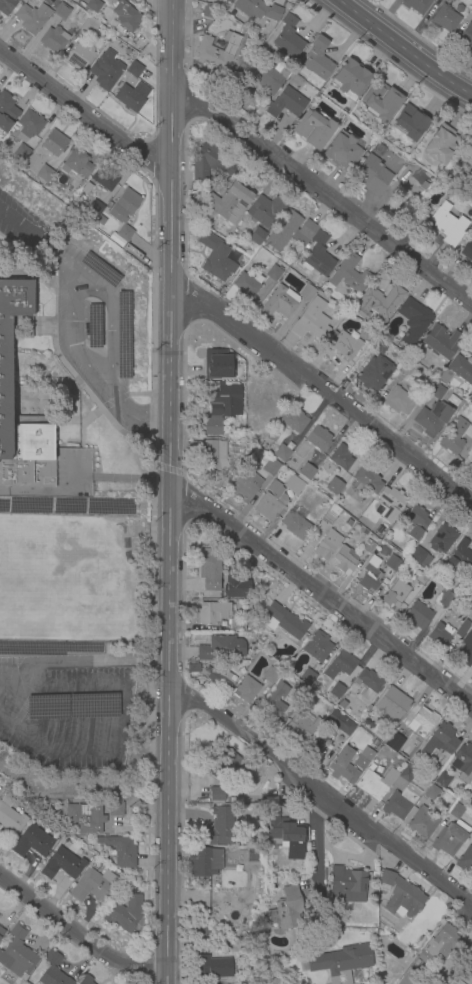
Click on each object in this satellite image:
building: (227, 1)
building: (416, 5)
building: (6, 6)
building: (91, 6)
building: (458, 8)
building: (256, 9)
building: (471, 10)
building: (61, 11)
building: (209, 12)
building: (126, 16)
building: (31, 17)
building: (444, 19)
building: (89, 25)
building: (288, 37)
building: (465, 37)
road: (174, 39)
building: (53, 40)
road: (404, 49)
building: (215, 52)
building: (80, 55)
building: (317, 59)
building: (134, 69)
building: (104, 74)
building: (267, 78)
building: (349, 78)
building: (294, 81)
building: (127, 98)
building: (380, 100)
building: (287, 102)
building: (7, 112)
road: (86, 115)
building: (409, 122)
building: (28, 125)
building: (313, 129)
building: (54, 143)
building: (439, 144)
building: (343, 151)
building: (21, 152)
building: (210, 162)
building: (77, 164)
building: (466, 168)
building: (44, 174)
building: (371, 174)
building: (105, 178)
building: (448, 179)
building: (423, 186)
building: (86, 188)
road: (323, 190)
building: (225, 204)
building: (94, 208)
building: (264, 210)
building: (423, 210)
building: (122, 215)
building: (100, 220)
building: (448, 224)
building: (256, 236)
road: (31, 238)
building: (301, 241)
building: (467, 251)
road: (25, 255)
building: (215, 257)
building: (274, 273)
road: (23, 275)
road: (48, 275)
building: (350, 275)
road: (170, 281)
building: (248, 285)
building: (306, 292)
building: (382, 301)
building: (279, 303)
parking lot: (80, 314)
building: (312, 321)
building: (413, 321)
building: (366, 335)
road: (108, 336)
building: (442, 342)
building: (344, 344)
building: (379, 344)
building: (405, 350)
road: (80, 355)
building: (216, 364)
building: (407, 366)
building: (461, 369)
building: (373, 373)
road: (72, 375)
building: (445, 376)
building: (5, 377)
road: (321, 389)
building: (436, 391)
road: (139, 393)
road: (114, 400)
building: (224, 400)
building: (452, 400)
building: (398, 401)
building: (432, 417)
road: (76, 419)
road: (161, 420)
building: (293, 420)
road: (149, 421)
building: (211, 427)
road: (81, 433)
building: (273, 436)
building: (455, 436)
building: (318, 439)
building: (209, 452)
building: (282, 453)
building: (341, 458)
building: (271, 467)
building: (470, 467)
road: (166, 468)
road: (151, 471)
building: (306, 472)
road: (121, 478)
building: (214, 479)
building: (366, 480)
building: (245, 485)
building: (294, 485)
building: (333, 487)
building: (270, 502)
building: (389, 504)
building: (330, 514)
building: (417, 522)
building: (296, 523)
building: (348, 523)
building: (378, 529)
building: (442, 540)
building: (328, 545)
building: (368, 547)
building: (419, 557)
building: (459, 558)
building: (345, 560)
building: (393, 564)
road: (168, 570)
building: (210, 570)
building: (370, 574)
building: (421, 578)
park: (52, 580)
building: (236, 586)
building: (471, 592)
road: (320, 594)
building: (395, 595)
building: (471, 595)
building: (445, 598)
building: (212, 613)
building: (417, 616)
building: (283, 622)
building: (237, 625)
building: (462, 629)
building: (440, 634)
building: (317, 647)
building: (221, 648)
building: (464, 650)
road: (90, 660)
building: (340, 664)
building: (192, 668)
road: (168, 669)
building: (270, 676)
building: (307, 676)
building: (219, 677)
building: (369, 680)
road: (19, 682)
building: (299, 689)
road: (58, 690)
building: (246, 690)
building: (334, 691)
building: (392, 704)
building: (274, 707)
parking lot: (69, 715)
road: (121, 718)
building: (421, 719)
building: (301, 724)
road: (66, 726)
building: (335, 726)
building: (439, 740)
building: (314, 746)
road: (56, 750)
building: (364, 759)
building: (463, 763)
building: (224, 766)
building: (343, 767)
building: (372, 767)
building: (408, 773)
building: (442, 780)
building: (376, 784)
building: (431, 792)
road: (321, 794)
building: (217, 795)
building: (271, 800)
building: (400, 802)
building: (115, 806)
building: (456, 811)
building: (10, 817)
building: (86, 818)
building: (424, 822)
building: (220, 828)
building: (282, 829)
road: (169, 833)
road: (314, 835)
building: (449, 839)
building: (32, 842)
building: (120, 851)
building: (465, 860)
building: (204, 862)
building: (63, 864)
building: (346, 885)
building: (94, 886)
building: (398, 898)
building: (285, 909)
building: (124, 912)
building: (1, 931)
road: (79, 935)
building: (440, 944)
building: (17, 953)
building: (343, 962)
building: (211, 968)
building: (52, 971)
building: (411, 978)
building: (85, 980)

